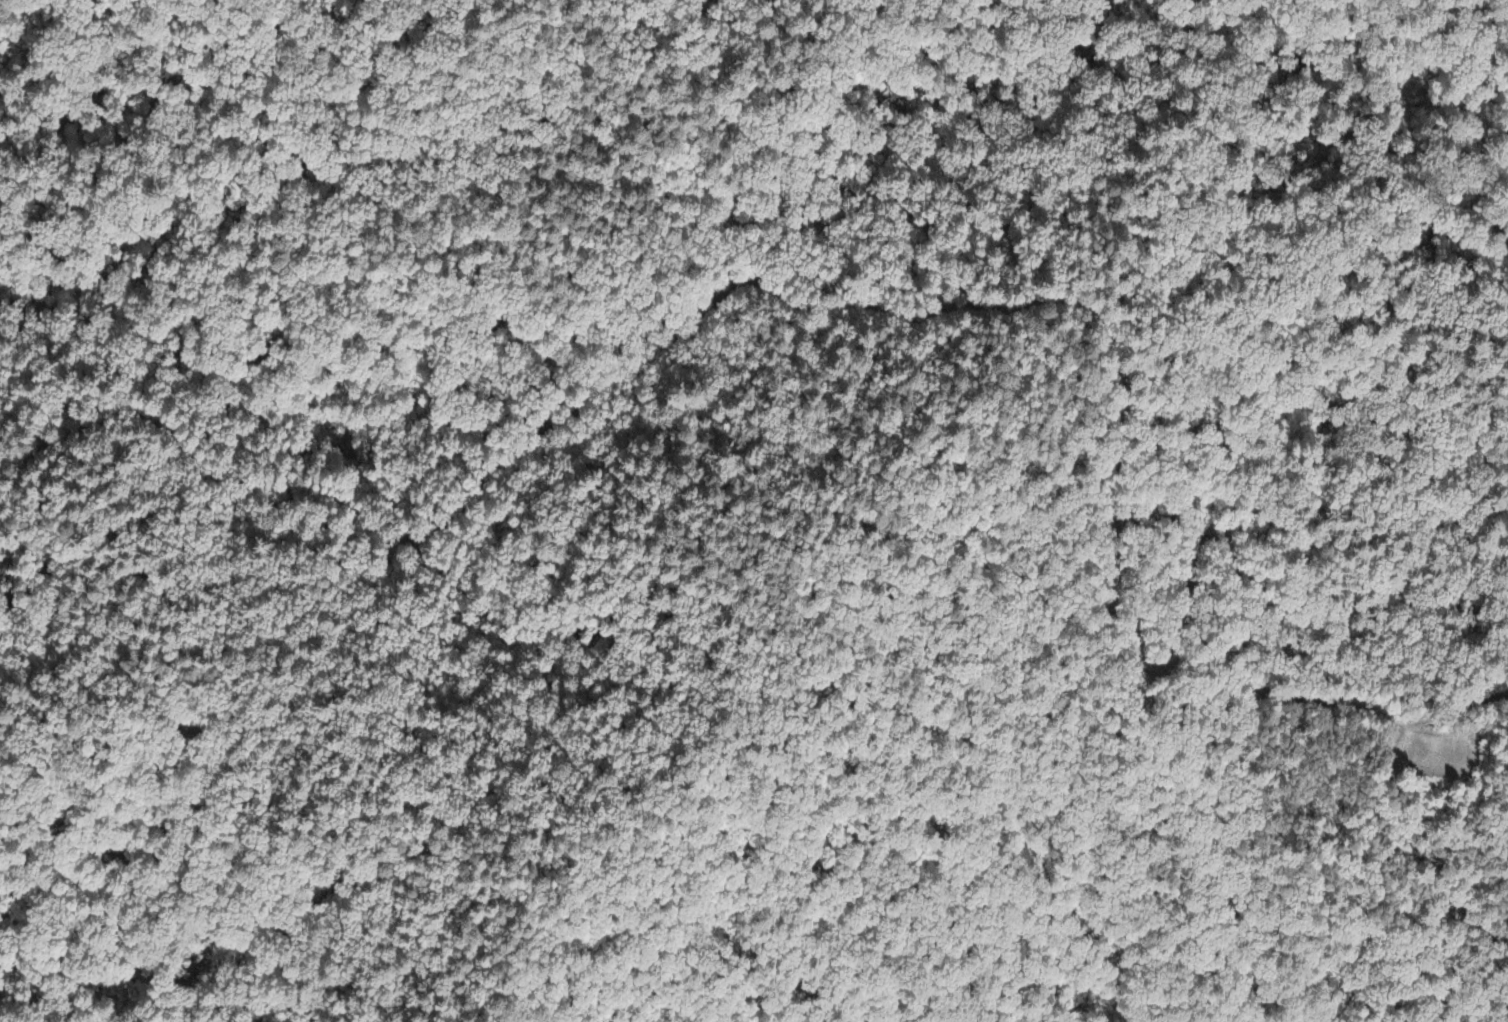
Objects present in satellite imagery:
road: (963, 308)
road: (11, 611)
road: (109, 904)

